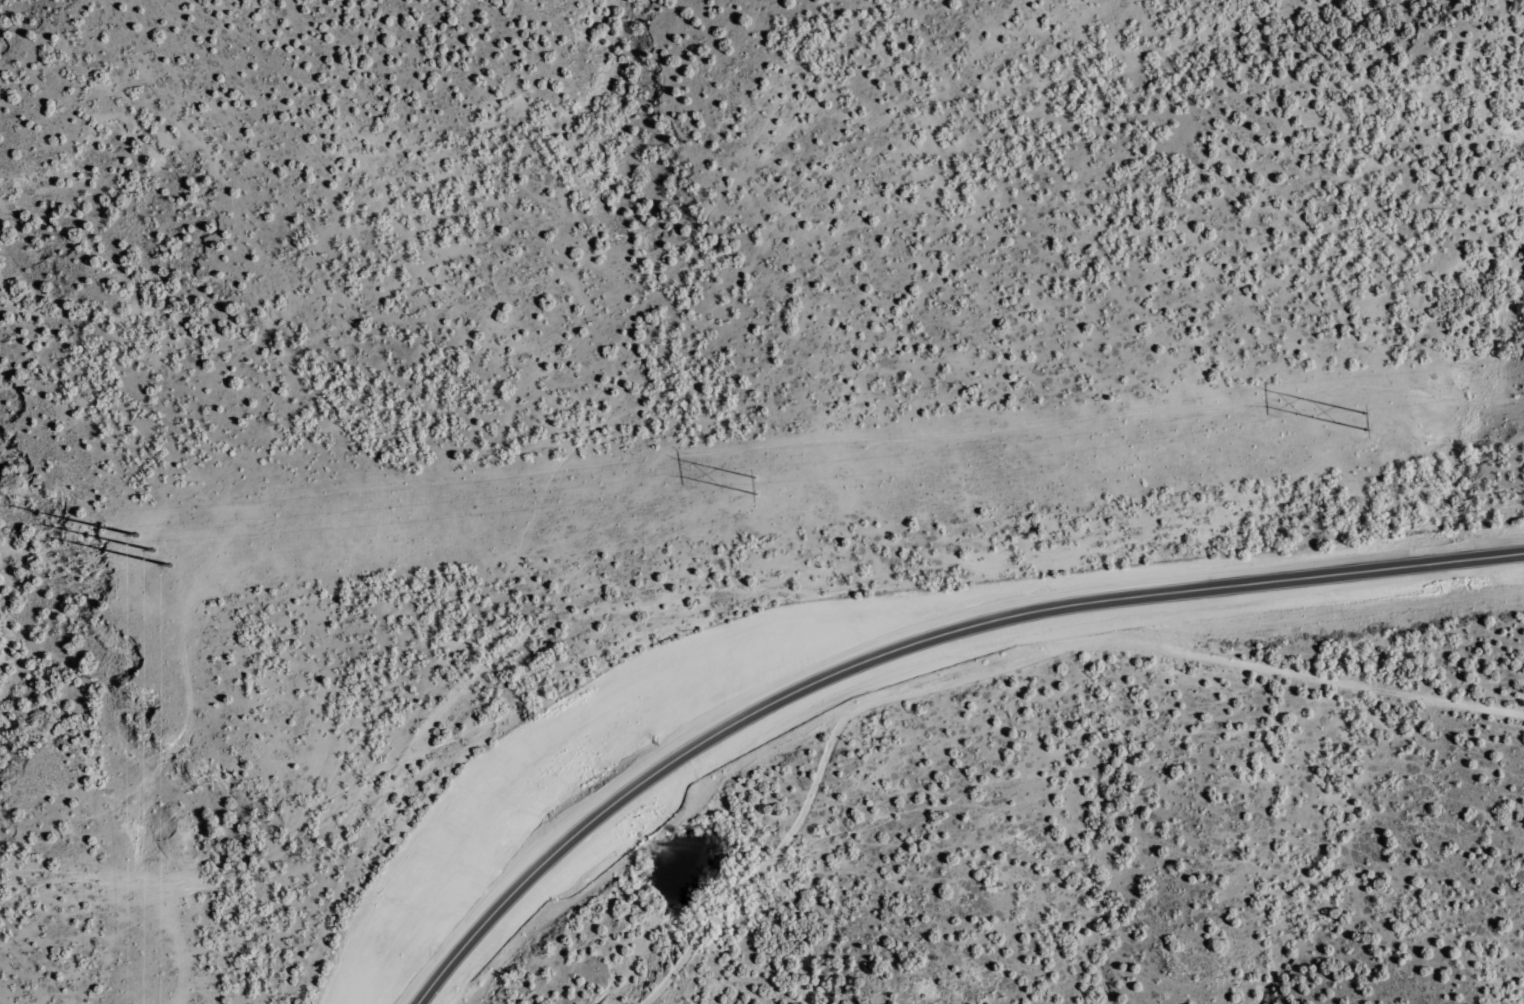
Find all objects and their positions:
power tower: (1361, 415)
power tower: (754, 482)
power tower: (149, 550)
road: (860, 629)

